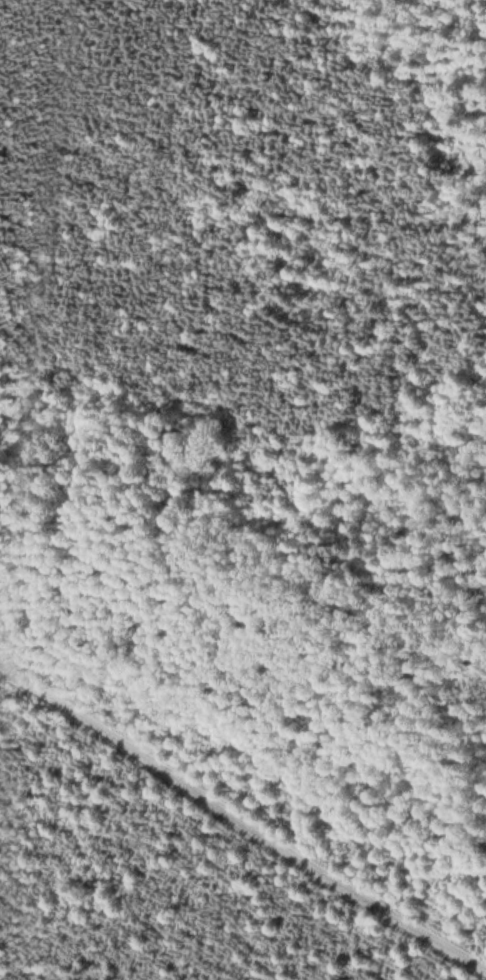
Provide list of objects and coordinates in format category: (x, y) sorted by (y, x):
road: (238, 817)

